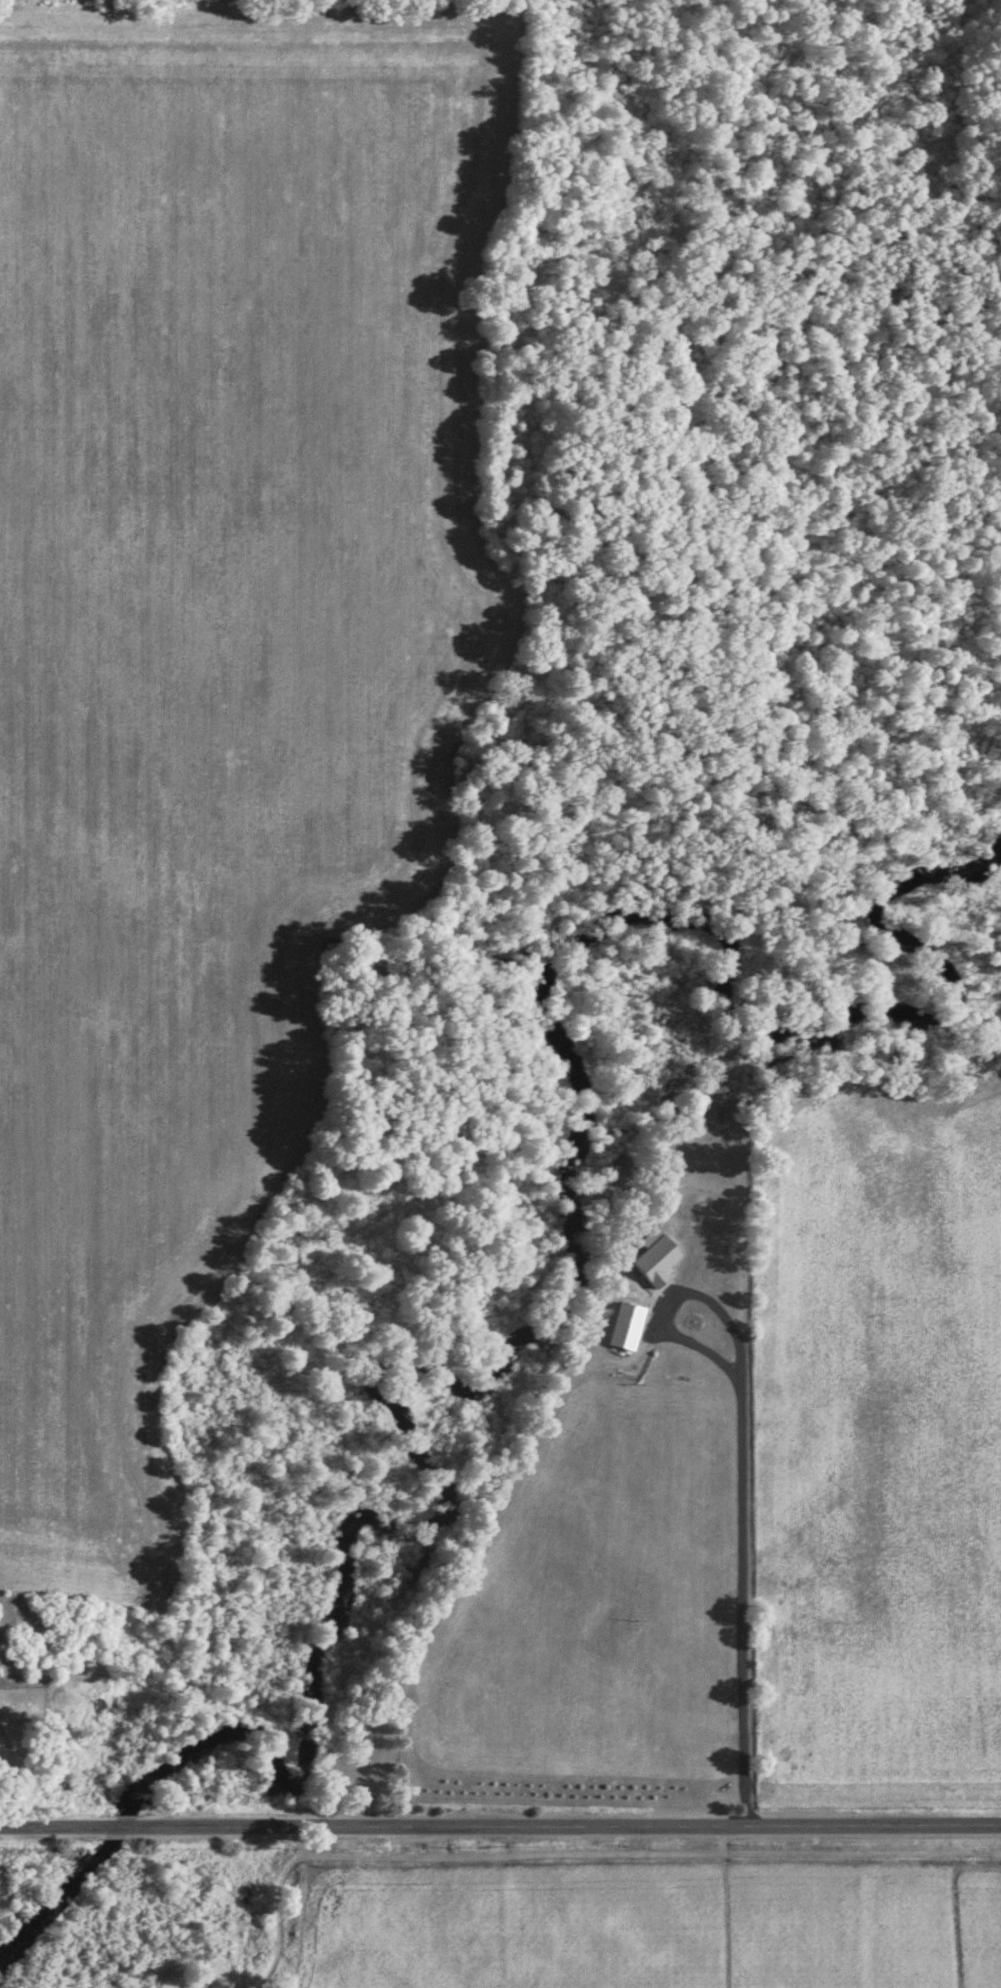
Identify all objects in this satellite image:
road: (500, 1828)

